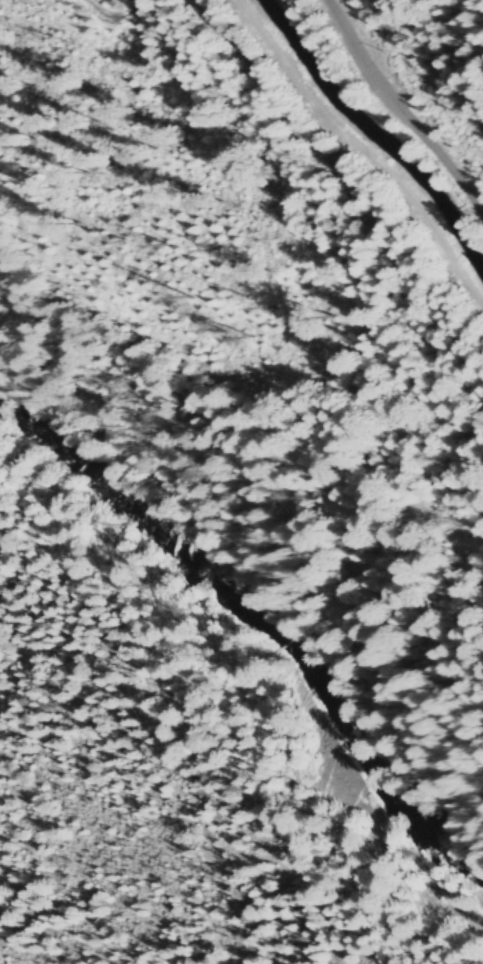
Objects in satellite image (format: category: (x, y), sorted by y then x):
road: (400, 110)
road: (363, 149)
road: (259, 579)
river: (265, 629)

